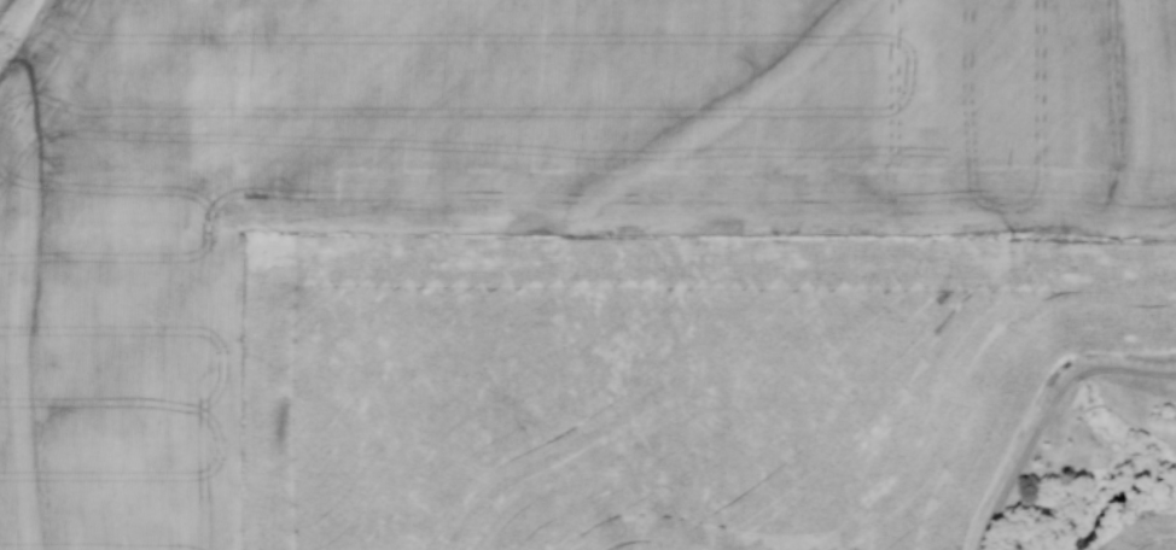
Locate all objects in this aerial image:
road: (1053, 421)

